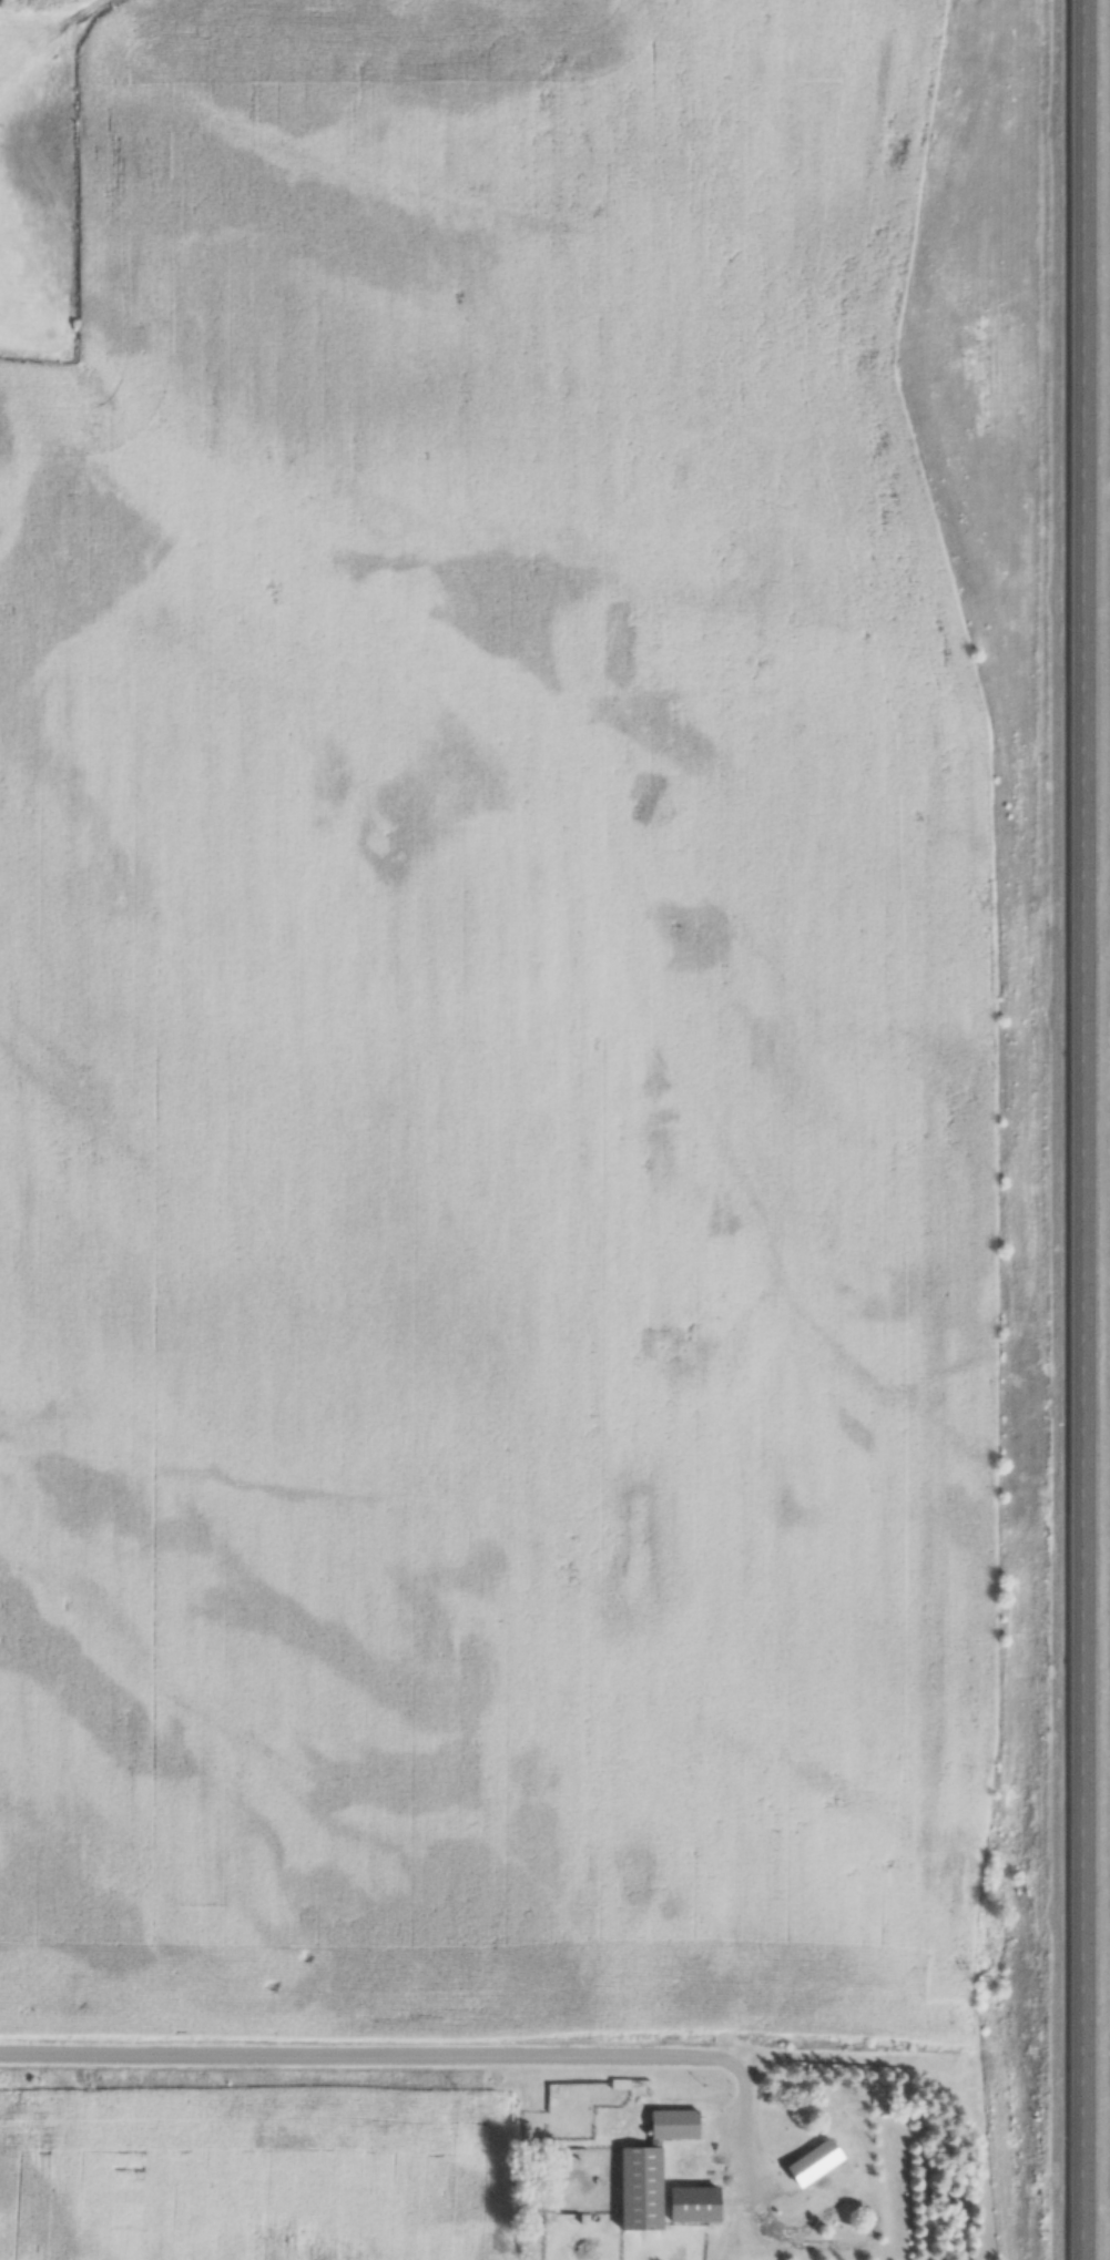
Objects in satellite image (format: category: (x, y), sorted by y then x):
road: (1071, 1130)
road: (380, 2065)
building: (807, 2161)
building: (645, 2169)
building: (688, 2203)

